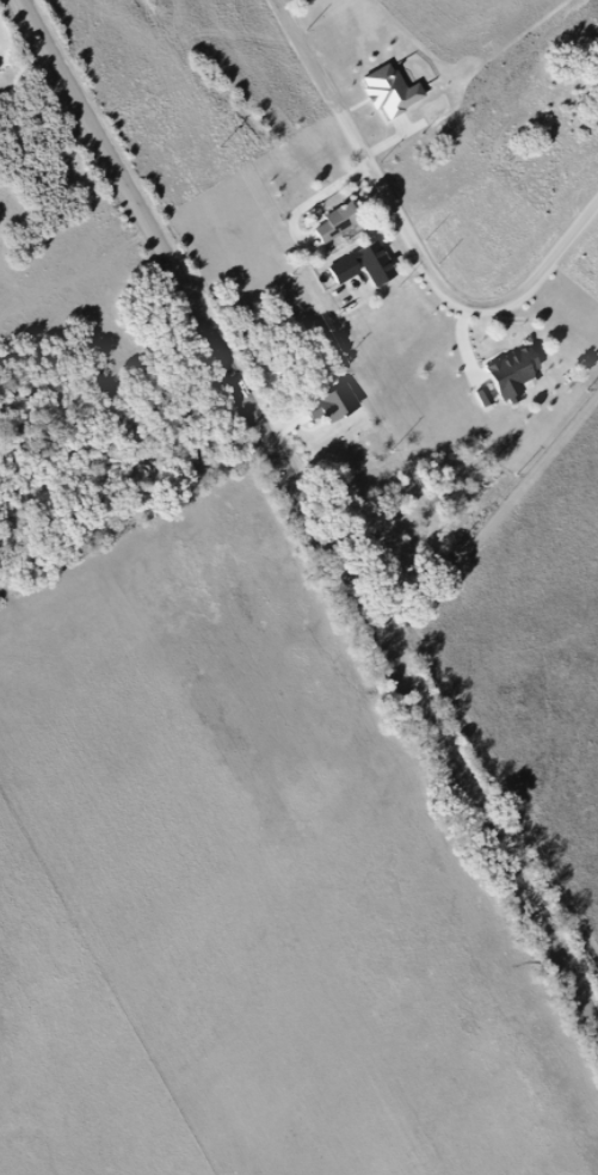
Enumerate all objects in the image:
building: (399, 94)
park: (430, 215)
building: (345, 227)
road: (409, 234)
building: (371, 267)
building: (522, 377)
building: (344, 408)
road: (313, 506)

